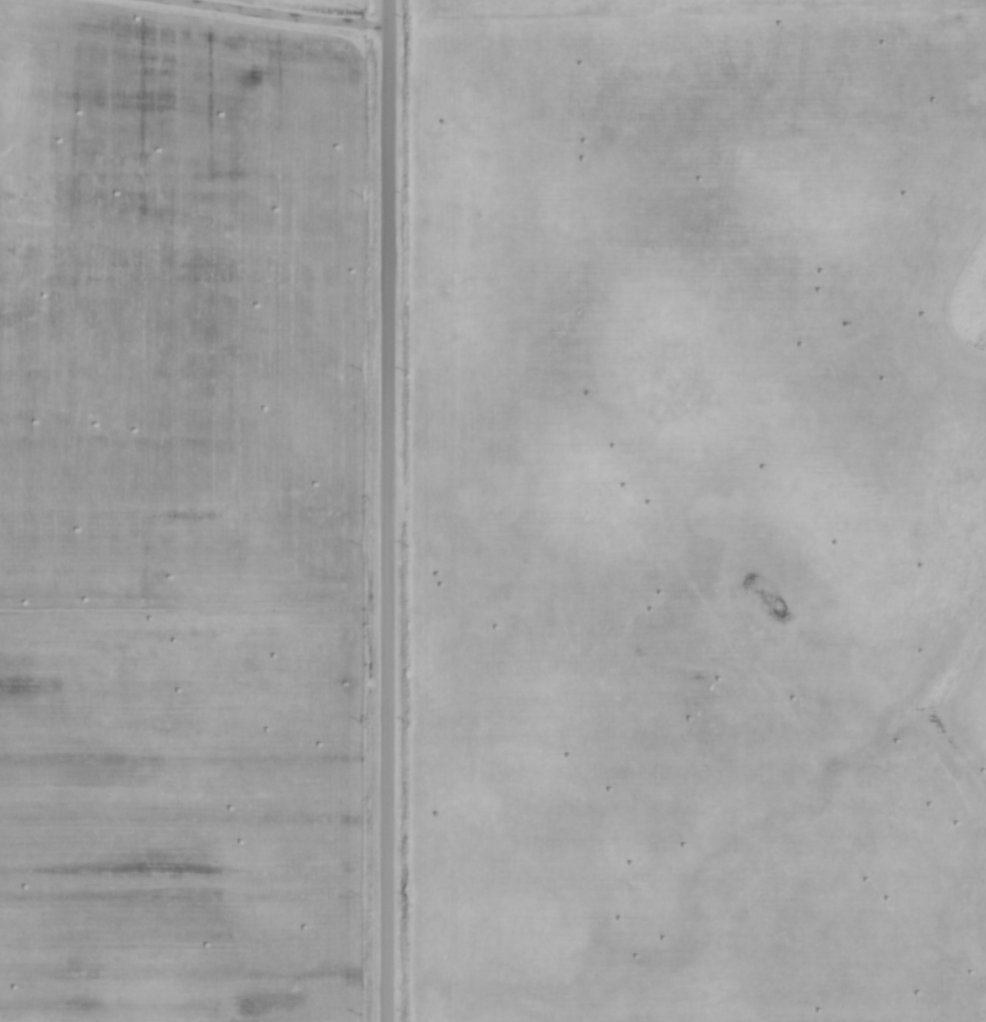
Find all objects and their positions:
road: (253, 18)
road: (387, 510)

